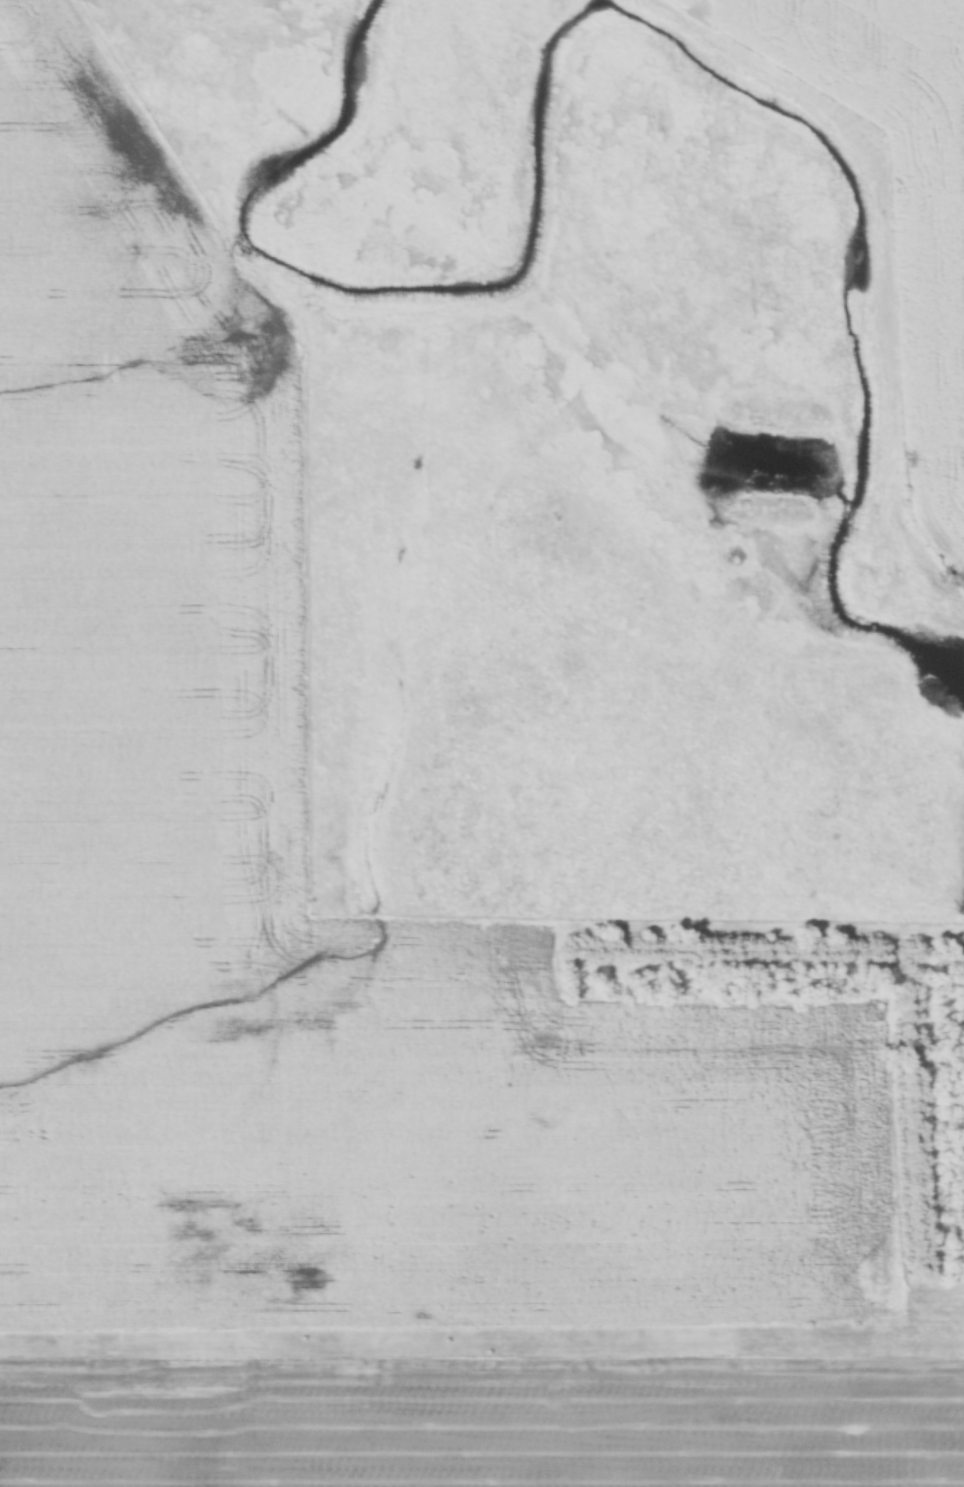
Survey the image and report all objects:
road: (482, 1353)

